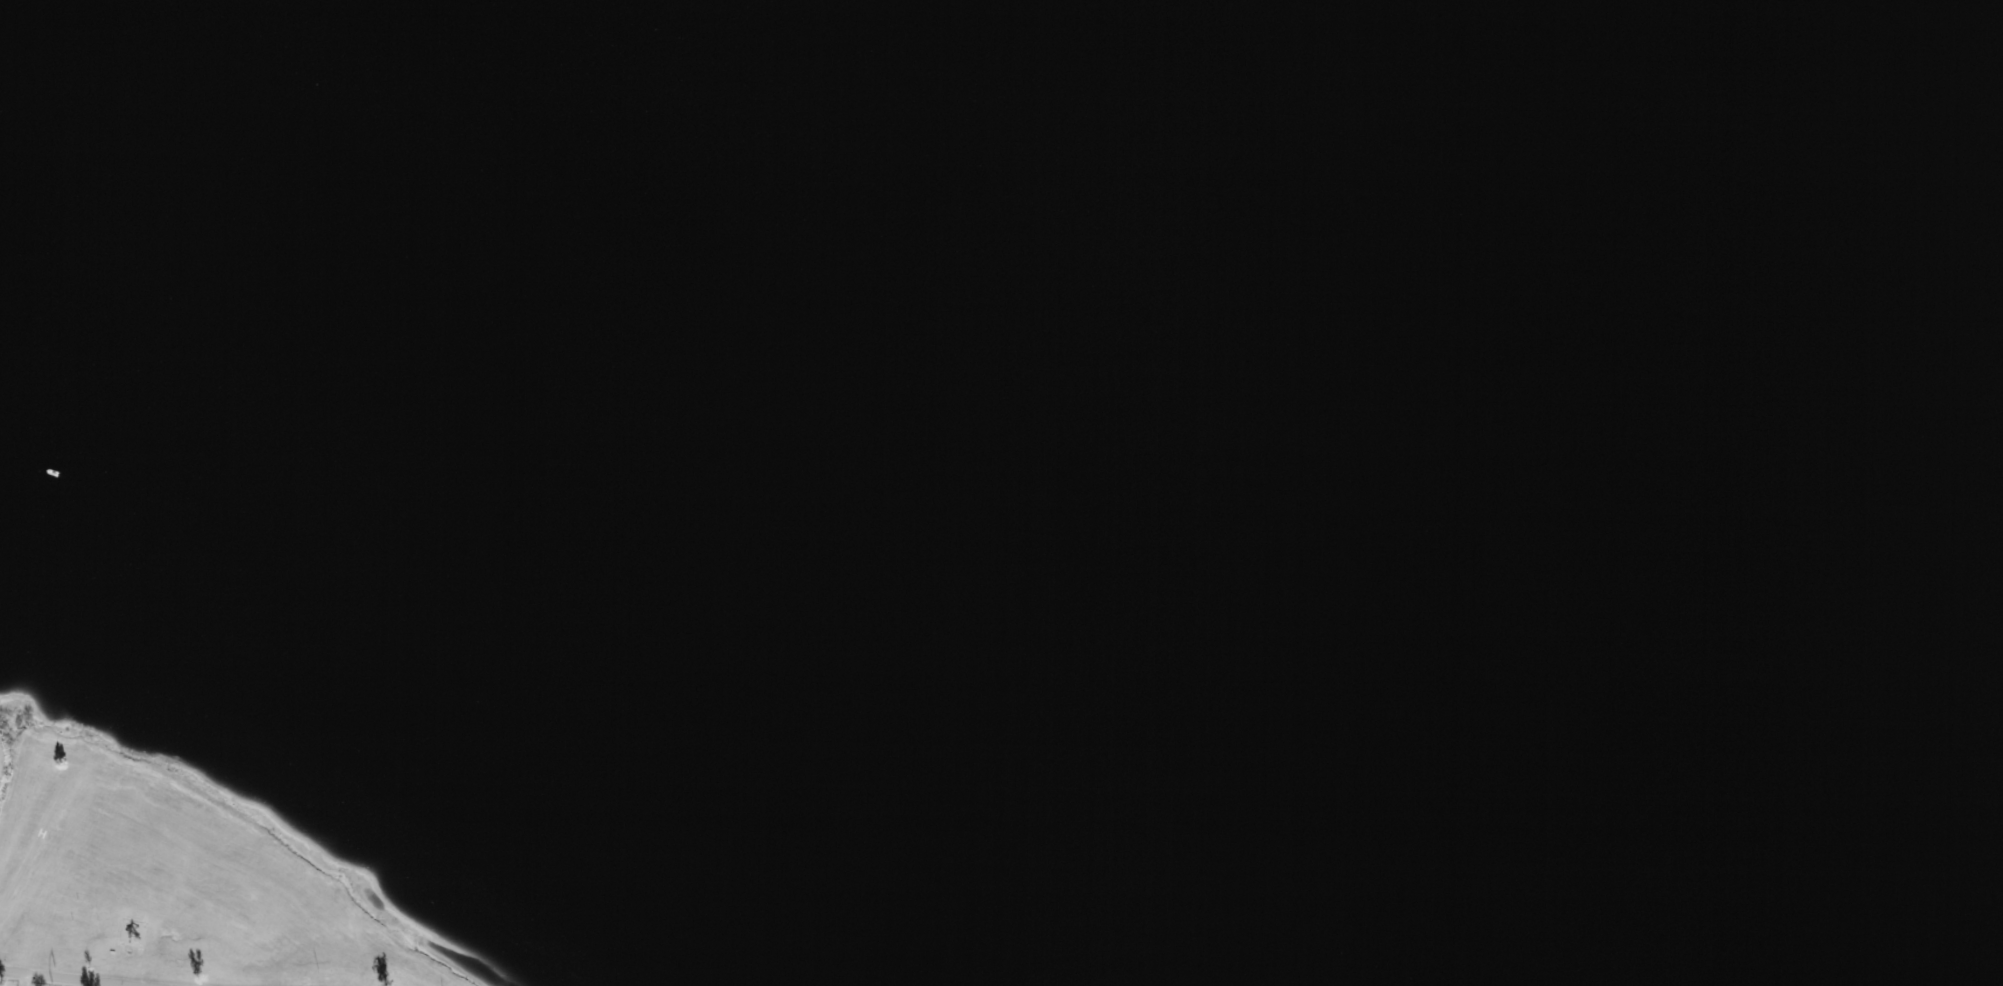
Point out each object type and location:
river: (1457, 371)
park: (171, 880)

